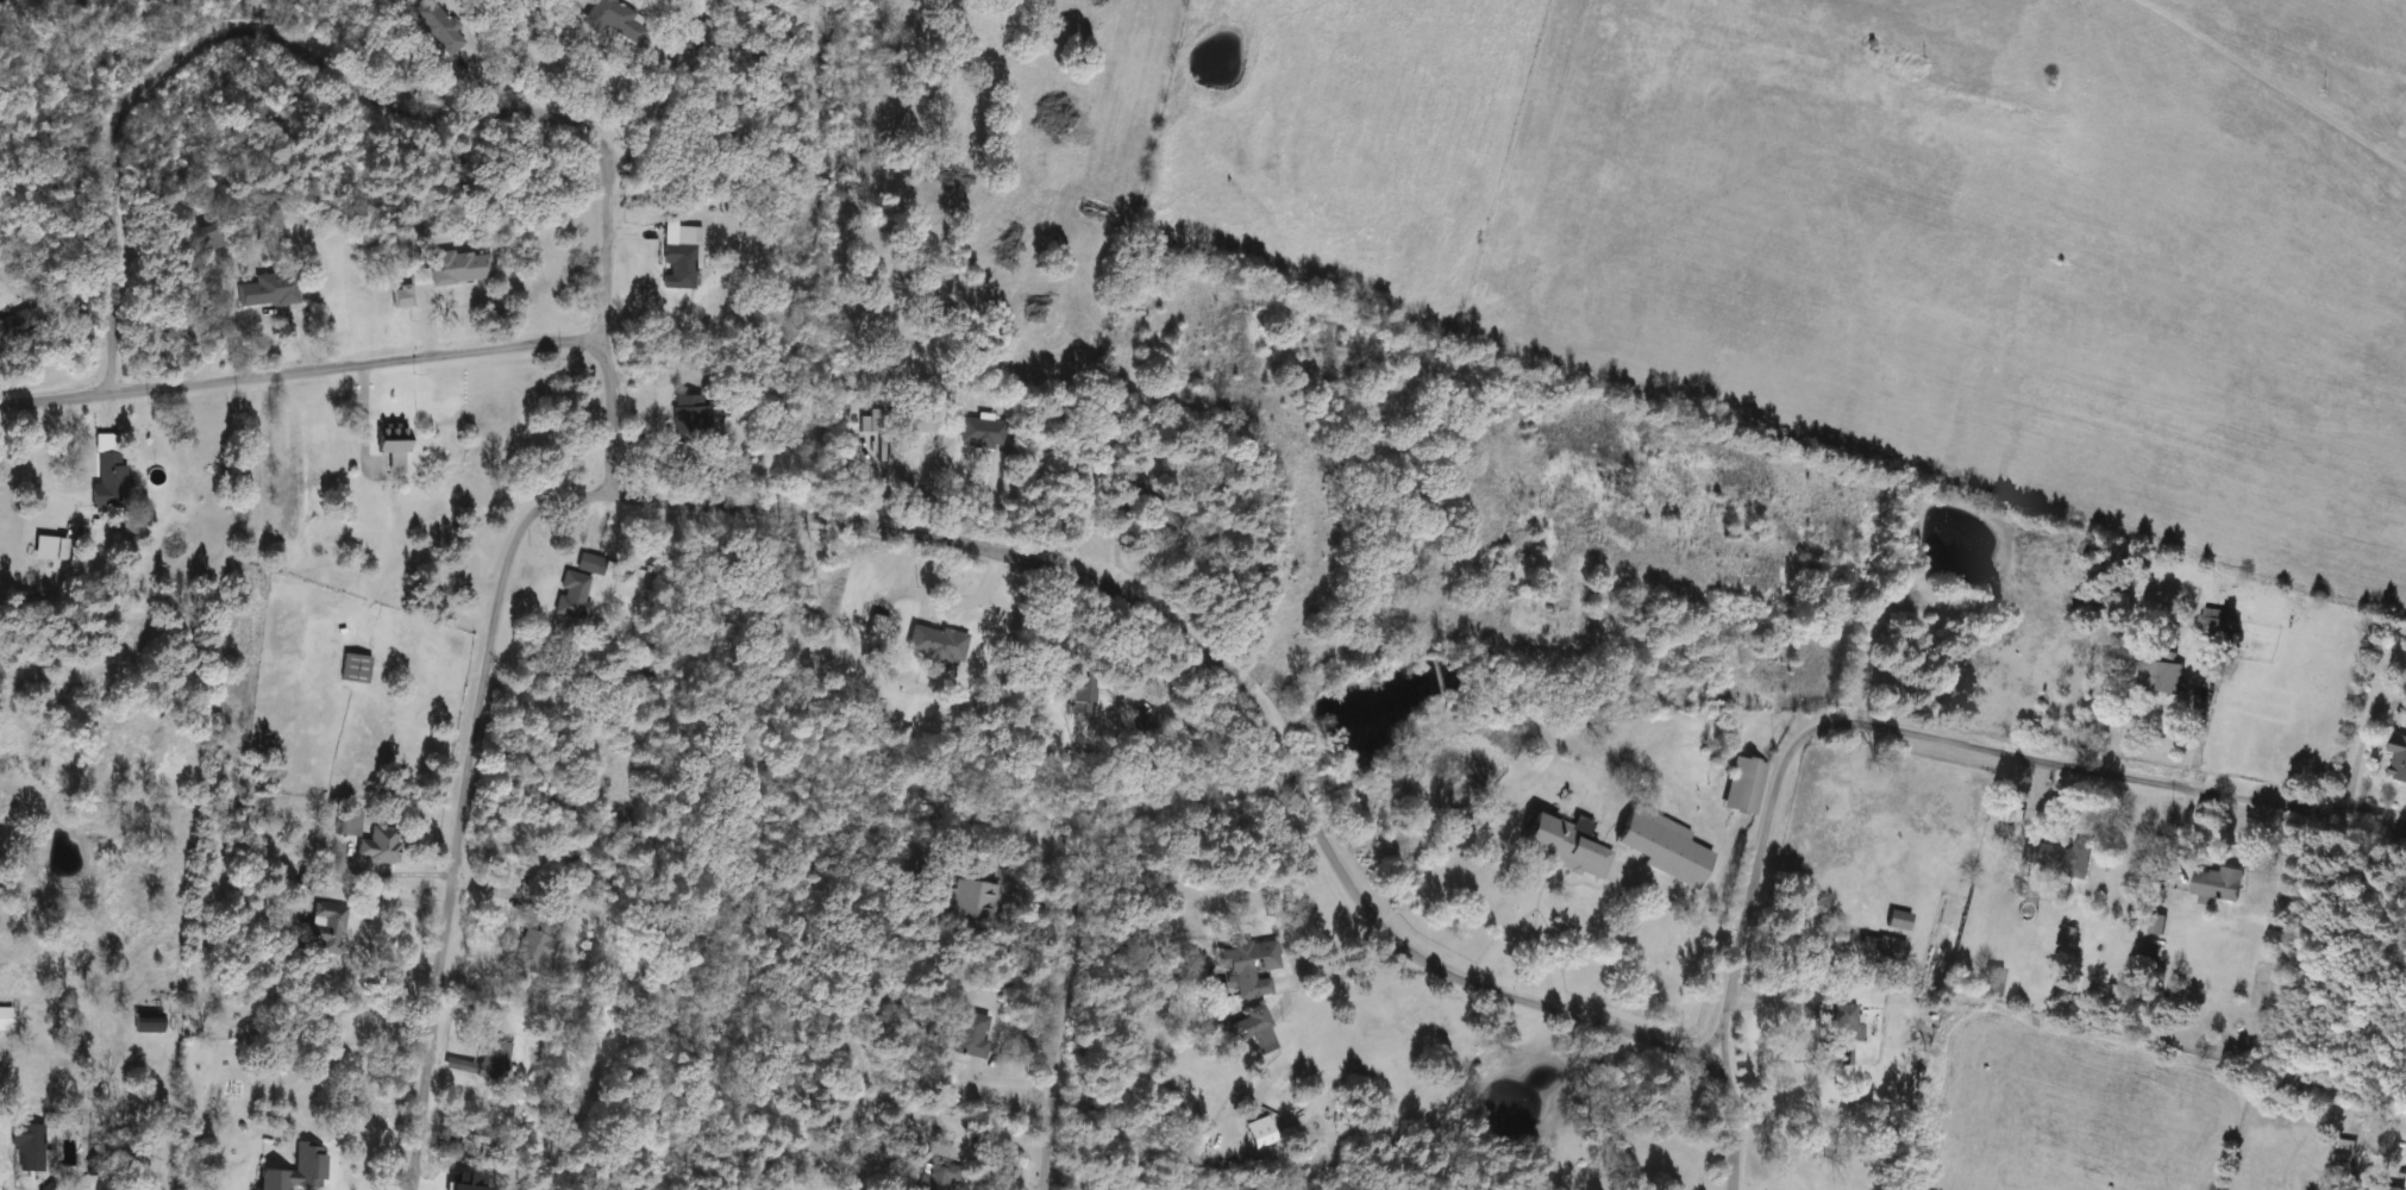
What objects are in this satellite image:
building: (615, 21)
building: (443, 25)
building: (691, 40)
road: (314, 55)
building: (209, 238)
building: (678, 257)
building: (458, 268)
building: (268, 292)
building: (12, 330)
road: (302, 374)
building: (688, 419)
road: (608, 420)
building: (917, 422)
building: (980, 434)
building: (389, 446)
building: (107, 481)
building: (48, 550)
building: (575, 590)
building: (2216, 621)
building: (934, 645)
building: (352, 670)
building: (2160, 676)
road: (1228, 678)
building: (1079, 696)
road: (1891, 731)
building: (2398, 757)
building: (1743, 788)
road: (462, 807)
building: (1561, 846)
building: (375, 847)
building: (1660, 847)
building: (2057, 858)
building: (2216, 885)
road: (1686, 900)
road: (1082, 917)
building: (1897, 922)
building: (325, 931)
building: (534, 945)
building: (1880, 948)
road: (1339, 965)
building: (1248, 967)
building: (1993, 977)
building: (145, 1023)
building: (1252, 1028)
building: (1843, 1034)
building: (970, 1035)
building: (489, 1061)
road: (1737, 1123)
building: (30, 1150)
building: (295, 1171)
building: (938, 1177)
building: (2377, 1188)

